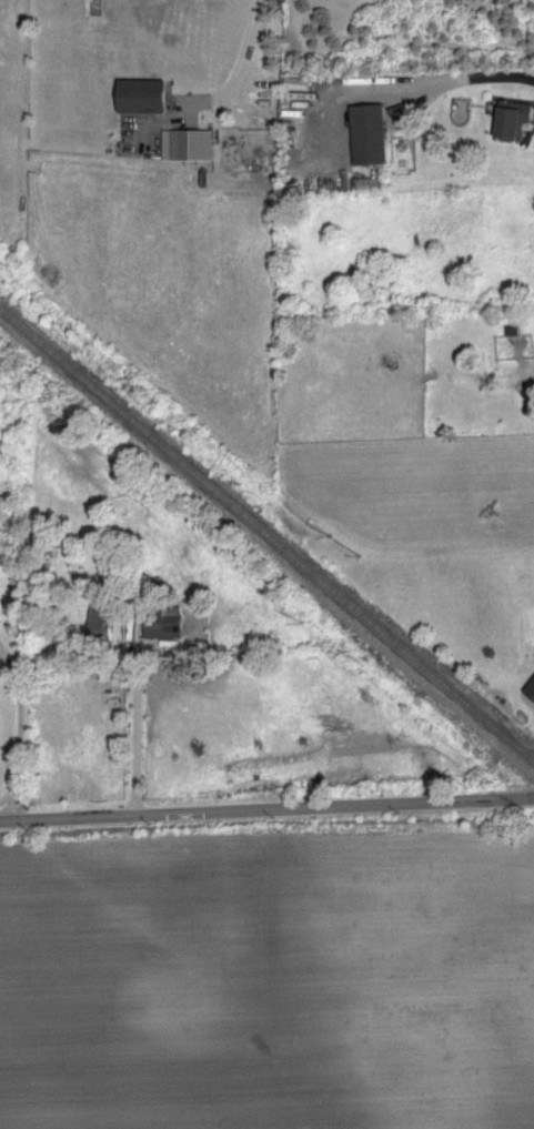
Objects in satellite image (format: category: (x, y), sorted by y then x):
road: (241, 51)
road: (488, 78)
building: (141, 95)
building: (511, 118)
building: (369, 133)
building: (187, 143)
power tower: (158, 401)
railway: (266, 528)
power tower: (328, 533)
power tower: (357, 552)
building: (99, 619)
power tower: (301, 621)
building: (163, 627)
building: (530, 688)
road: (137, 722)
road: (19, 733)
power tower: (488, 779)
road: (266, 807)
power tower: (522, 808)

